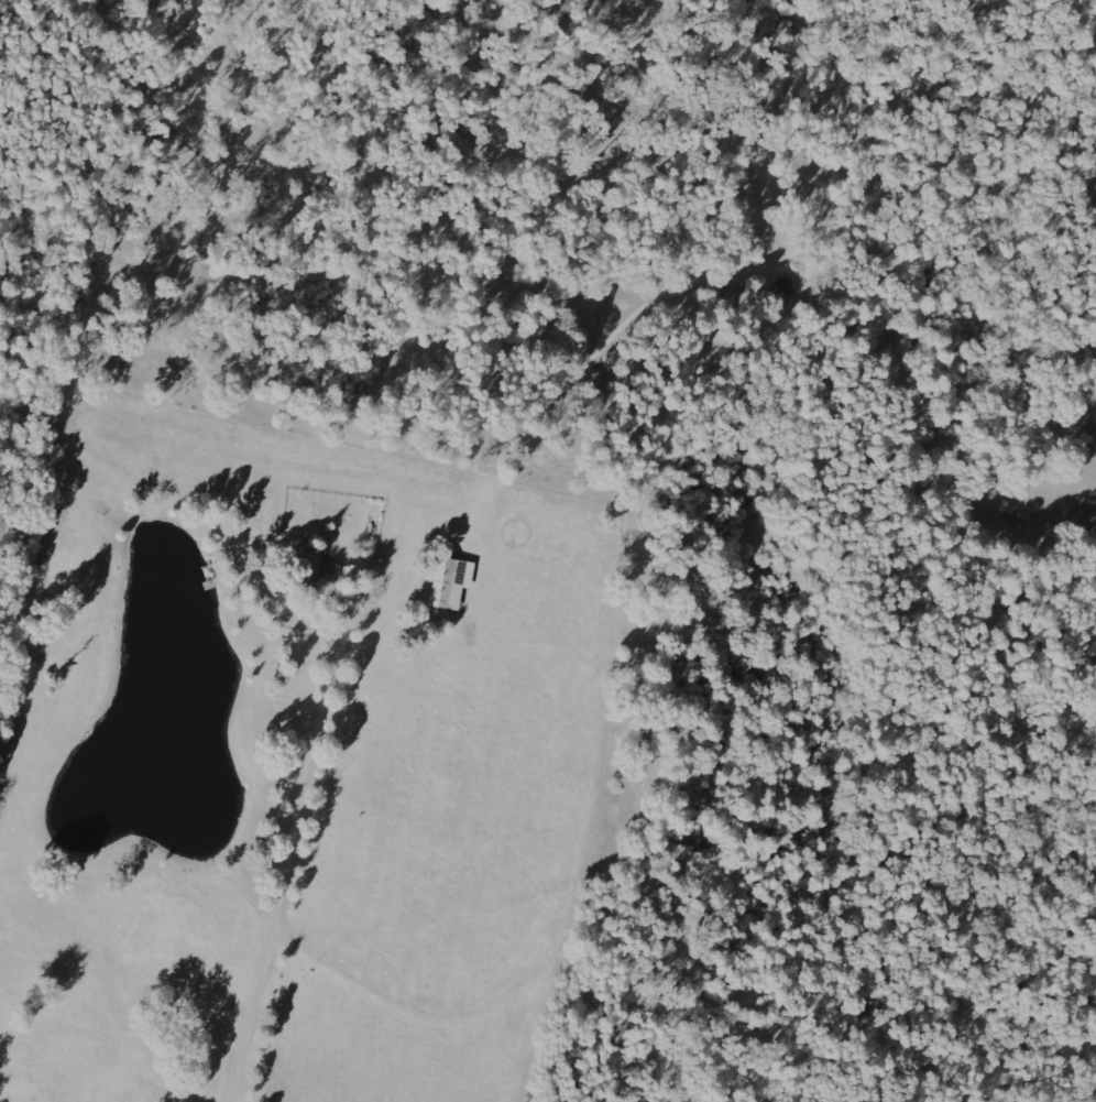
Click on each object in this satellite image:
building: (318, 570)
building: (442, 582)

